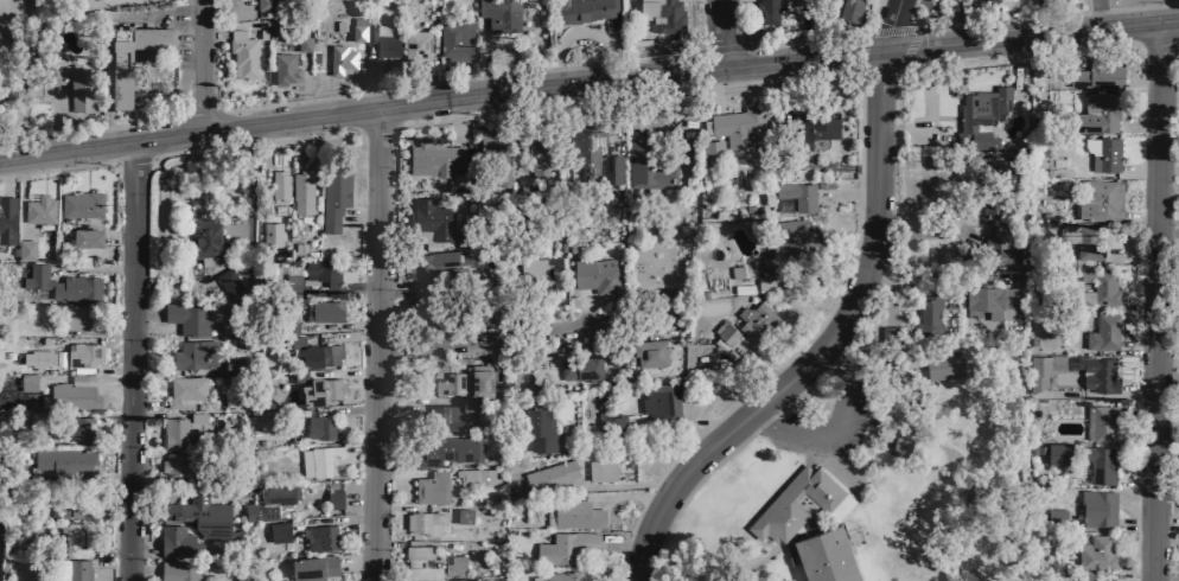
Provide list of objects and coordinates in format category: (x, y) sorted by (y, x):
building: (964, 0)
street lamp: (1158, 1)
road: (229, 2)
building: (263, 5)
building: (580, 9)
building: (849, 9)
road: (1009, 9)
building: (765, 11)
building: (499, 14)
building: (661, 14)
road: (1098, 14)
road: (1045, 17)
road: (1031, 18)
building: (338, 25)
building: (357, 28)
road: (716, 31)
road: (890, 32)
road: (215, 33)
road: (580, 37)
parking lot: (176, 39)
building: (454, 39)
building: (381, 41)
building: (302, 43)
road: (798, 43)
building: (415, 44)
road: (1082, 44)
road: (719, 47)
road: (906, 50)
building: (241, 52)
road: (860, 52)
building: (340, 59)
road: (203, 68)
building: (283, 68)
road: (878, 70)
road: (359, 75)
building: (1095, 75)
road: (369, 76)
building: (120, 77)
road: (587, 77)
road: (429, 79)
road: (458, 79)
building: (56, 81)
road: (304, 85)
road: (710, 85)
road: (925, 85)
road: (1166, 96)
road: (606, 114)
building: (1095, 114)
building: (980, 116)
road: (454, 120)
road: (57, 121)
building: (812, 124)
building: (738, 126)
road: (916, 126)
road: (1137, 126)
road: (88, 129)
road: (345, 133)
road: (261, 141)
road: (313, 141)
building: (586, 148)
road: (168, 152)
building: (713, 153)
building: (1102, 154)
building: (495, 157)
building: (538, 157)
building: (433, 158)
road: (130, 160)
building: (651, 161)
road: (59, 166)
road: (842, 167)
building: (1006, 167)
road: (1167, 167)
road: (393, 168)
building: (610, 168)
road: (1139, 171)
road: (5, 178)
road: (195, 181)
building: (278, 186)
building: (302, 190)
road: (1167, 191)
road: (247, 192)
building: (333, 193)
building: (796, 194)
road: (20, 199)
building: (1098, 199)
building: (81, 204)
building: (38, 209)
road: (358, 212)
road: (1141, 213)
building: (429, 218)
building: (6, 219)
building: (994, 226)
road: (1167, 231)
road: (926, 232)
building: (85, 237)
road: (120, 237)
building: (205, 237)
building: (1081, 238)
building: (788, 243)
building: (25, 249)
road: (1132, 255)
building: (436, 261)
road: (93, 268)
building: (321, 270)
building: (735, 272)
building: (537, 273)
road: (931, 273)
building: (457, 274)
building: (595, 274)
building: (1017, 277)
building: (227, 281)
building: (291, 282)
building: (64, 283)
road: (400, 283)
building: (766, 285)
road: (350, 288)
building: (1100, 288)
building: (988, 300)
road: (1155, 301)
road: (1139, 302)
road: (585, 308)
building: (325, 309)
building: (929, 313)
building: (74, 317)
building: (186, 317)
building: (756, 321)
road: (338, 325)
road: (839, 325)
road: (153, 330)
building: (726, 333)
building: (888, 333)
building: (1101, 333)
road: (345, 336)
road: (113, 338)
road: (490, 338)
road: (374, 343)
road: (1137, 344)
building: (314, 351)
building: (649, 351)
road: (794, 351)
building: (82, 355)
building: (196, 355)
road: (836, 356)
building: (37, 359)
road: (1166, 362)
road: (129, 363)
road: (757, 363)
building: (234, 366)
building: (579, 368)
building: (942, 369)
road: (111, 370)
road: (154, 370)
road: (340, 372)
building: (1041, 372)
building: (1096, 372)
building: (295, 375)
road: (106, 378)
building: (896, 379)
building: (466, 381)
building: (31, 383)
building: (185, 390)
building: (319, 390)
building: (71, 395)
road: (1109, 395)
road: (414, 401)
building: (662, 401)
road: (146, 403)
road: (1137, 406)
road: (1165, 409)
road: (343, 410)
parking lot: (827, 410)
building: (450, 414)
road: (153, 415)
building: (197, 417)
building: (1100, 421)
building: (63, 424)
building: (611, 424)
road: (677, 426)
building: (320, 427)
building: (537, 427)
road: (841, 429)
building: (173, 432)
building: (446, 448)
building: (900, 448)
road: (1167, 452)
building: (1057, 453)
road: (390, 458)
building: (62, 460)
building: (318, 460)
building: (178, 464)
building: (1100, 465)
building: (569, 472)
road: (400, 473)
building: (474, 475)
road: (144, 478)
road: (1134, 479)
road: (626, 485)
building: (431, 487)
park: (873, 489)
road: (625, 494)
road: (155, 497)
building: (333, 498)
building: (269, 500)
building: (794, 503)
road: (413, 506)
building: (1096, 507)
building: (59, 512)
building: (74, 512)
building: (88, 513)
building: (573, 513)
building: (198, 515)
building: (1054, 515)
building: (463, 516)
road: (331, 519)
building: (419, 521)
road: (1136, 523)
road: (1166, 523)
building: (278, 531)
building: (70, 535)
building: (319, 537)
road: (1166, 541)
building: (177, 542)
road: (141, 545)
building: (566, 547)
road: (98, 553)
building: (1094, 553)
building: (824, 556)
road: (353, 562)
road: (759, 562)
road: (109, 563)
building: (419, 563)
road: (1136, 564)
building: (454, 566)
building: (312, 567)
building: (74, 569)
road: (141, 569)
building: (180, 572)
building: (556, 575)
building: (466, 580)
building: (1091, 580)
road: (1124, 580)

